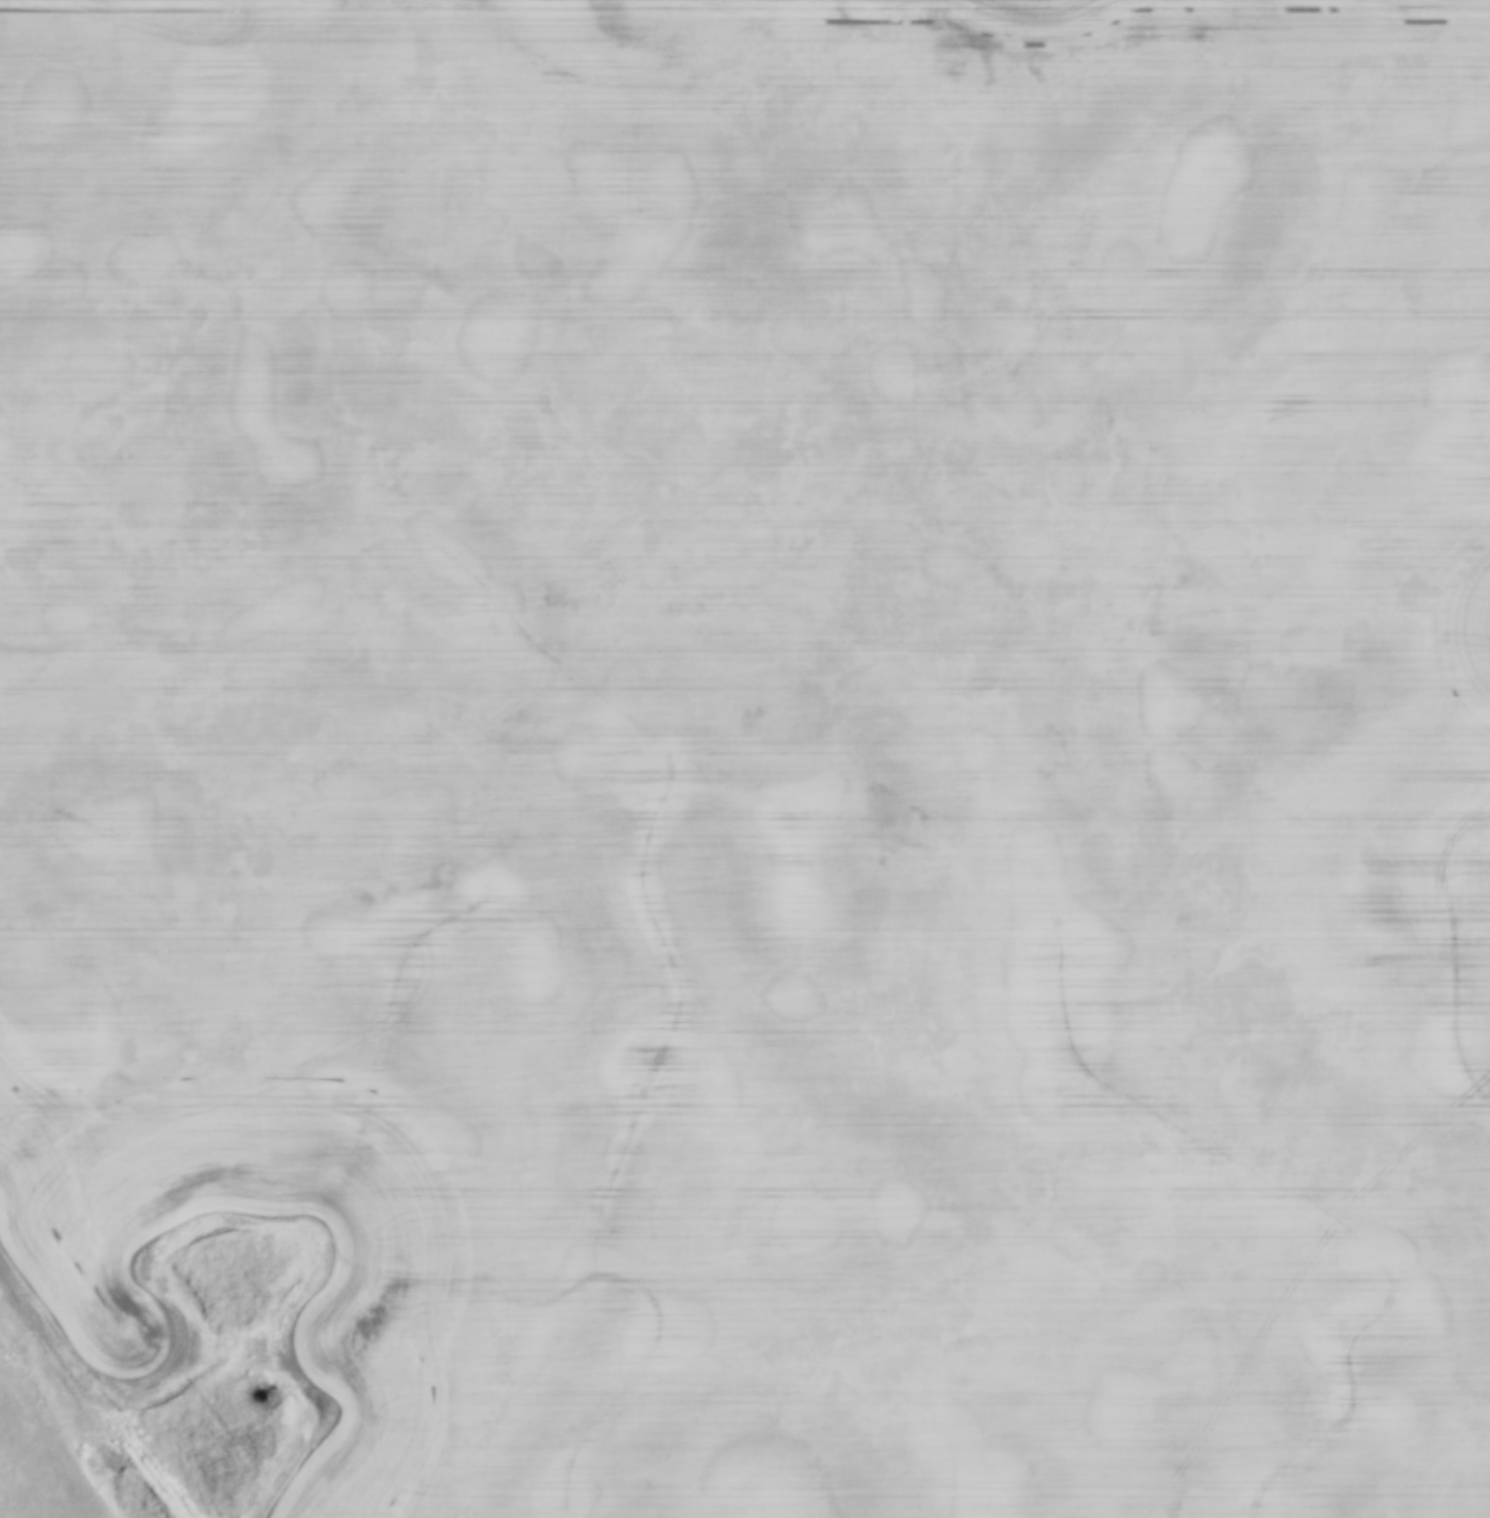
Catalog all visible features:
railway: (96, 1391)

